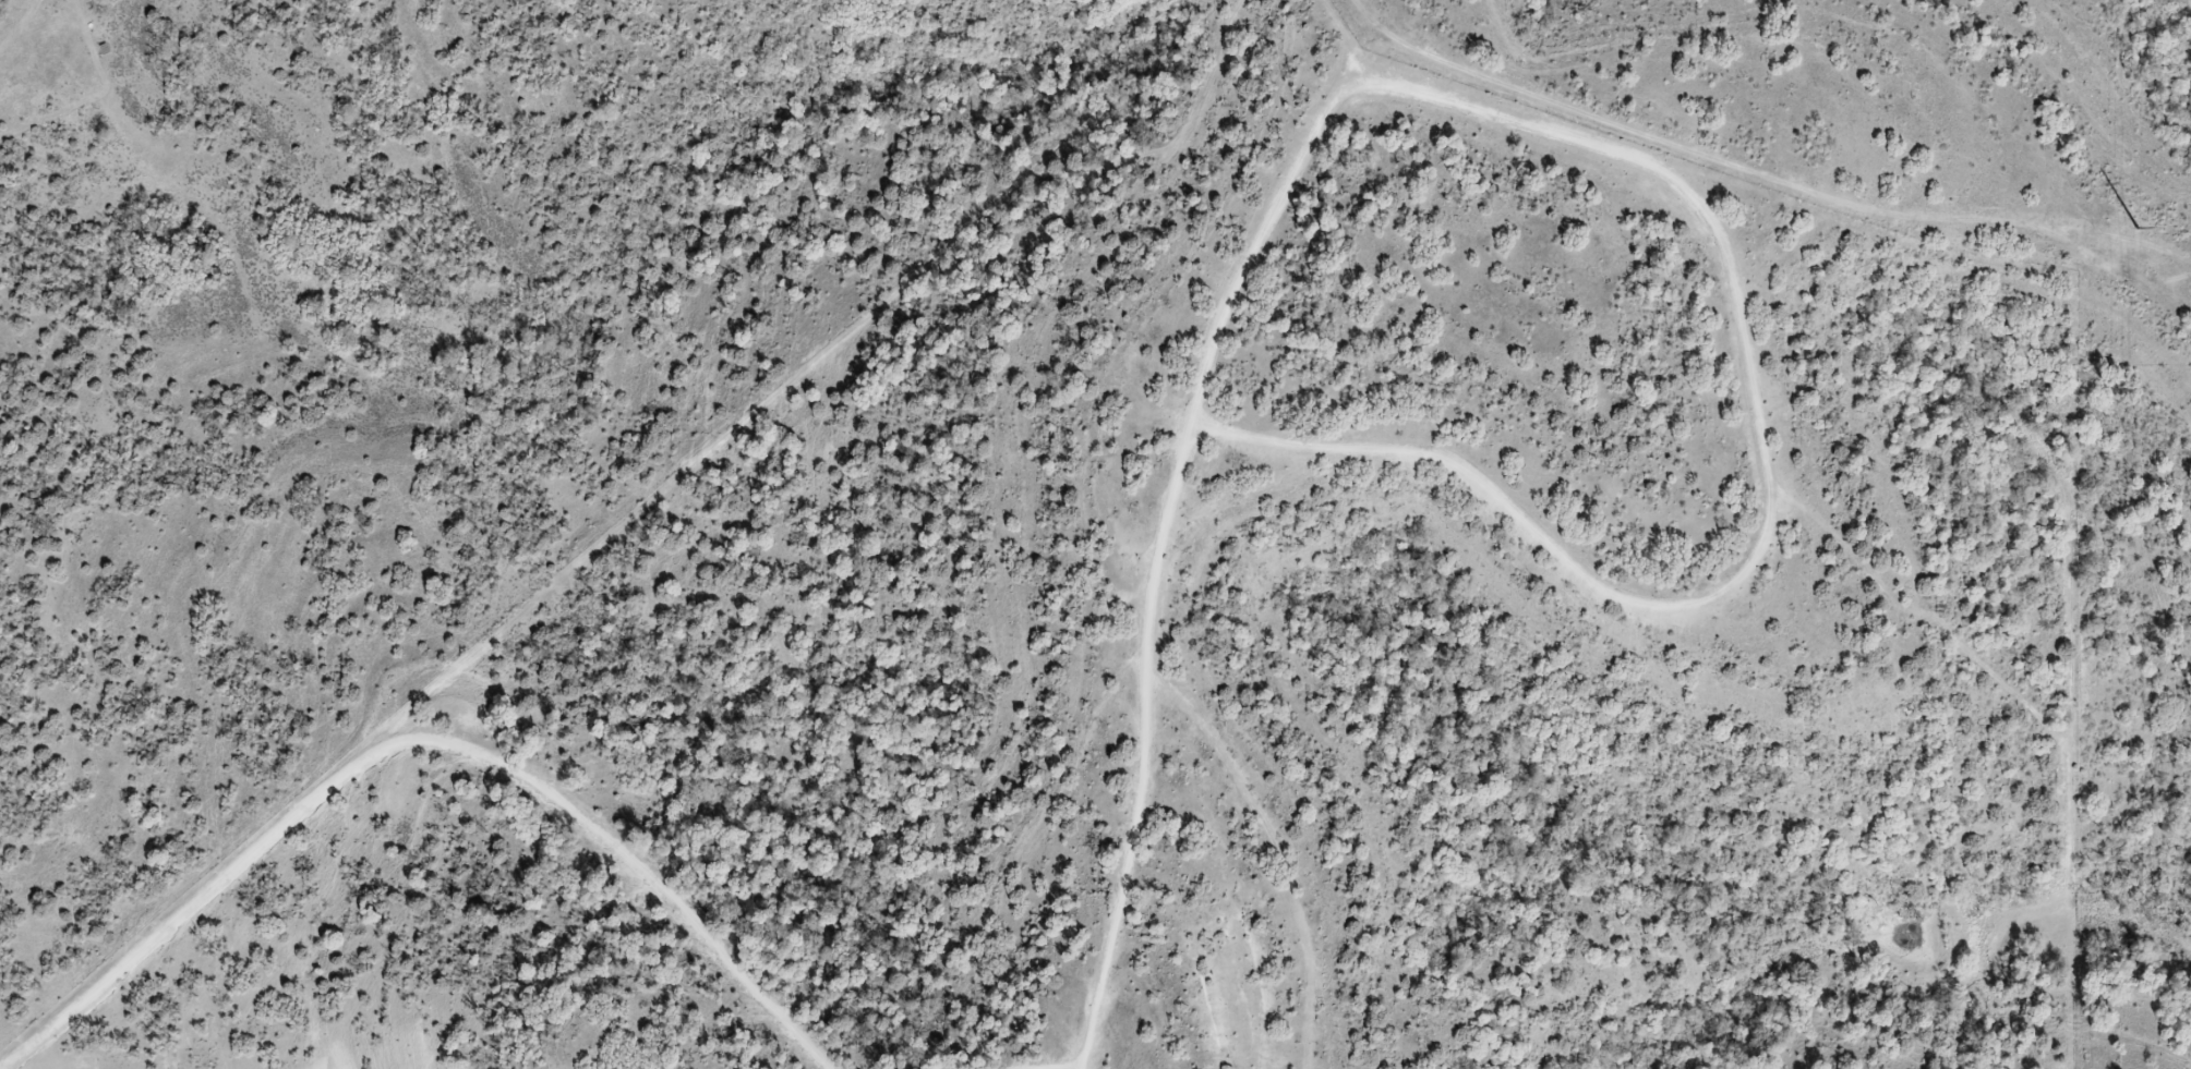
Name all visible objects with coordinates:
power tower: (2140, 230)

